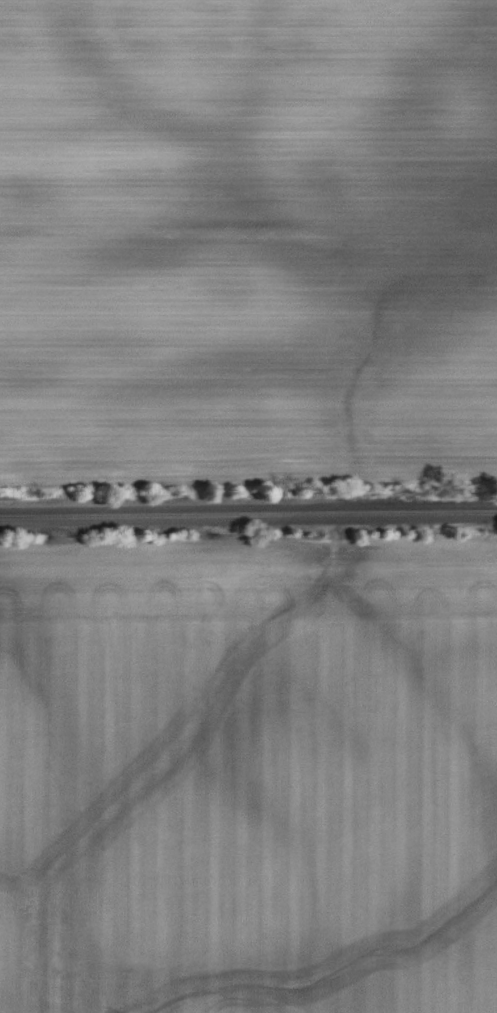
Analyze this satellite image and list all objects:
railway: (248, 515)

